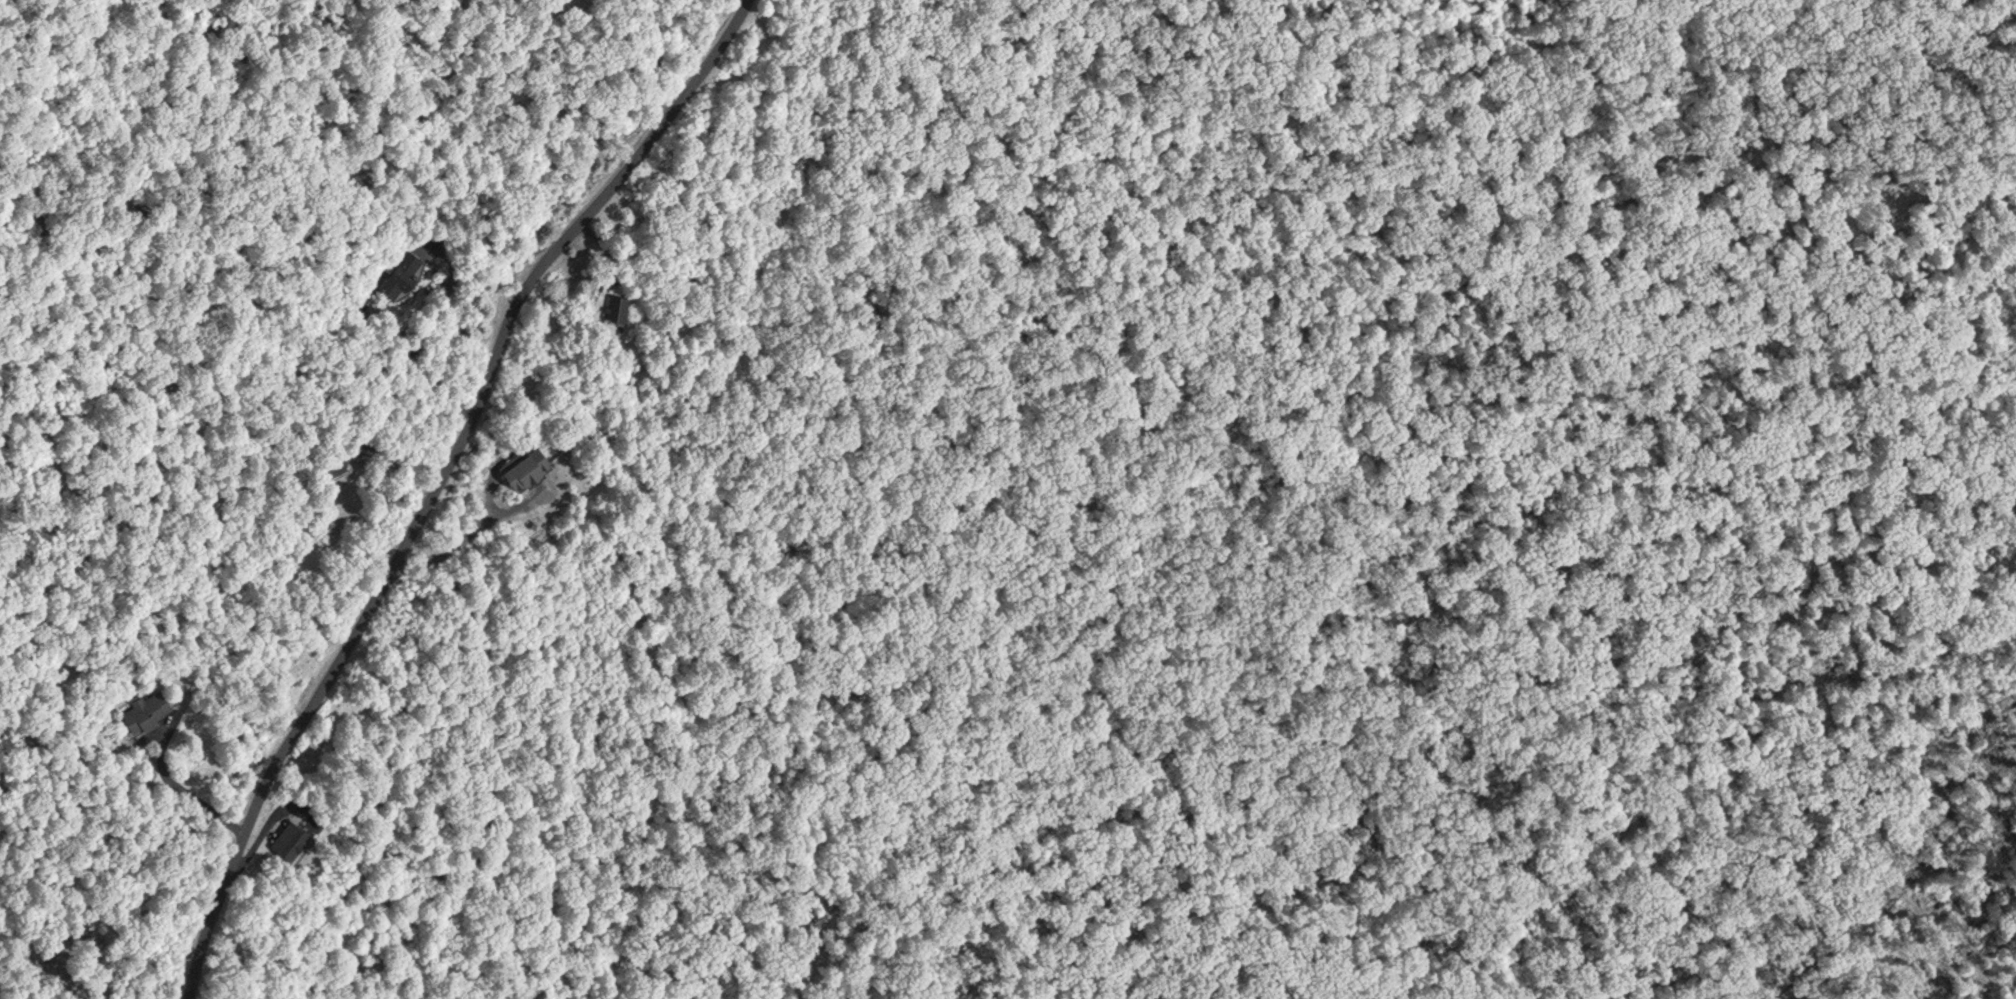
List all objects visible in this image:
building: (615, 303)
road: (427, 325)
building: (332, 462)
building: (523, 464)
road: (427, 481)
road: (457, 541)
building: (144, 709)
road: (184, 786)
building: (288, 837)

